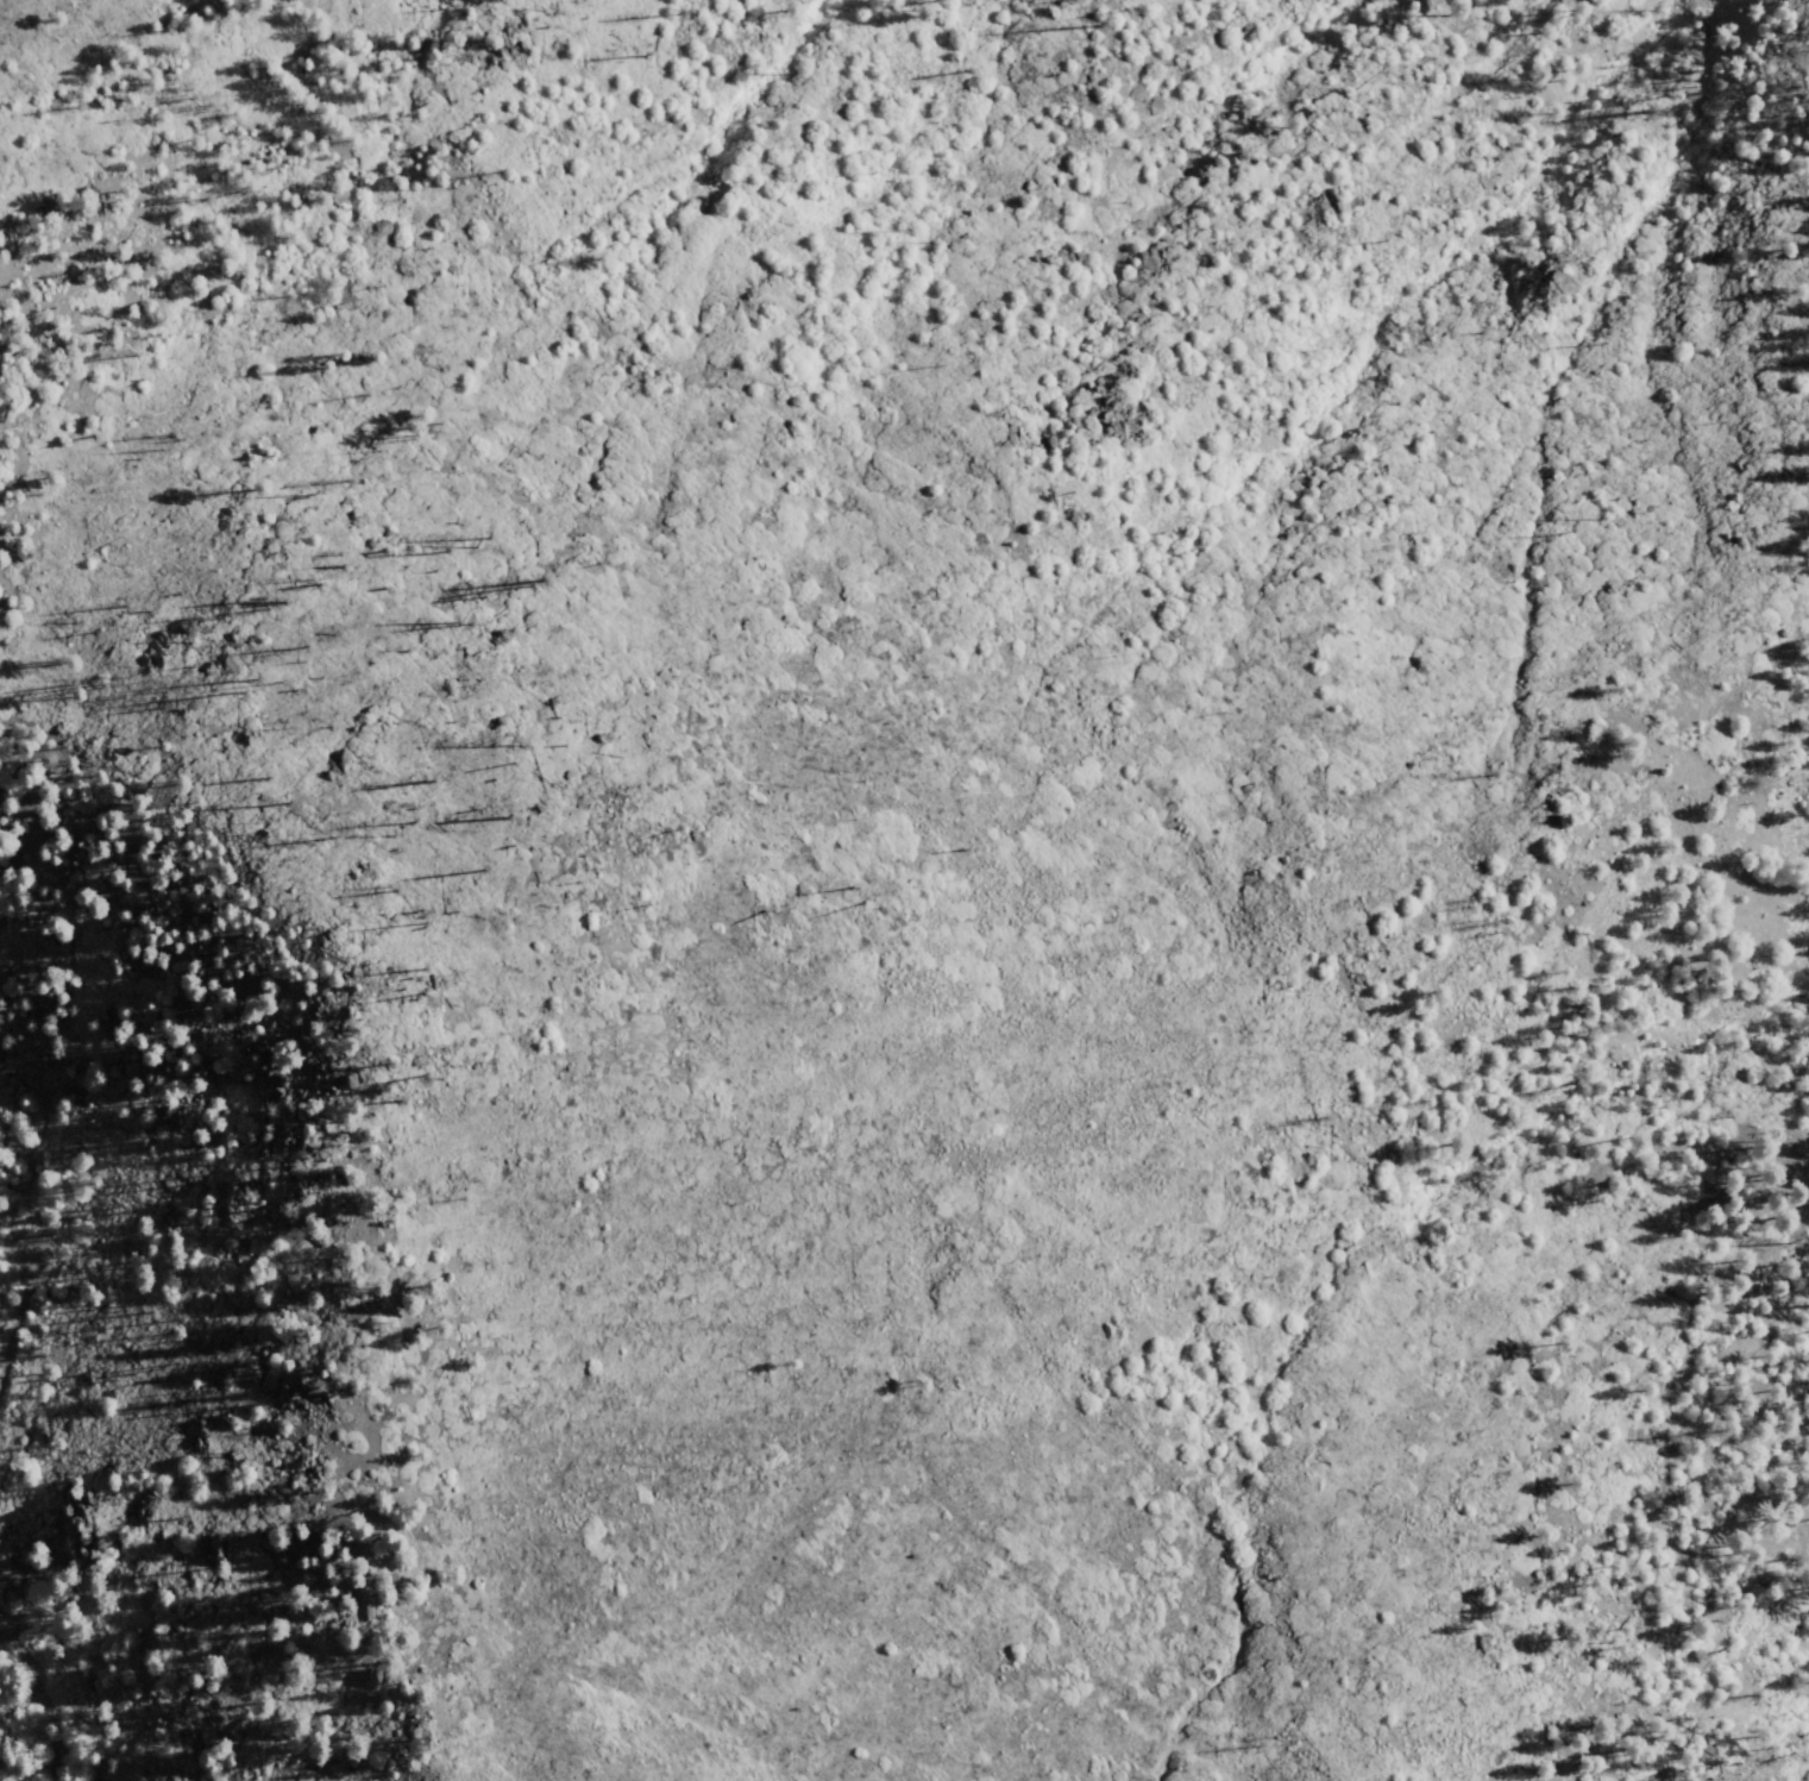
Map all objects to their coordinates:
road: (733, 395)

